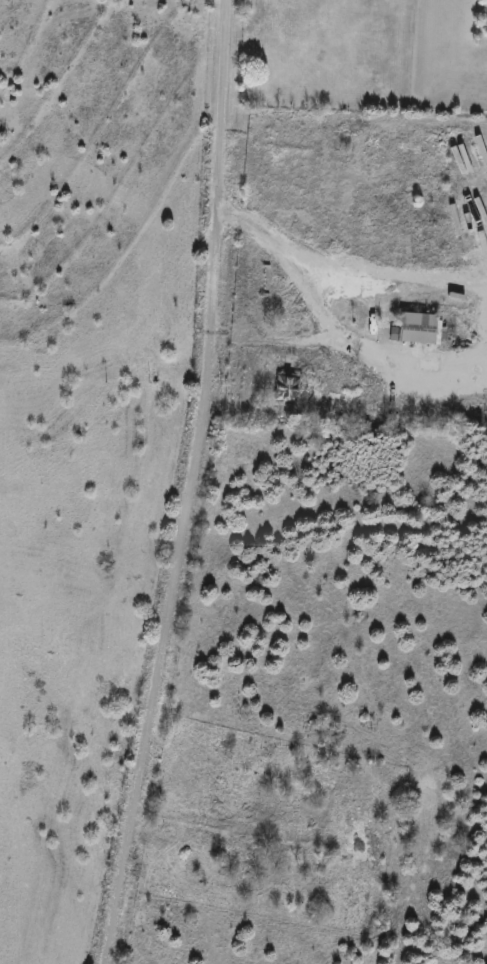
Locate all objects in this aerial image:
road: (326, 320)
building: (415, 329)
building: (290, 381)
road: (190, 484)
building: (327, 781)
building: (269, 808)

